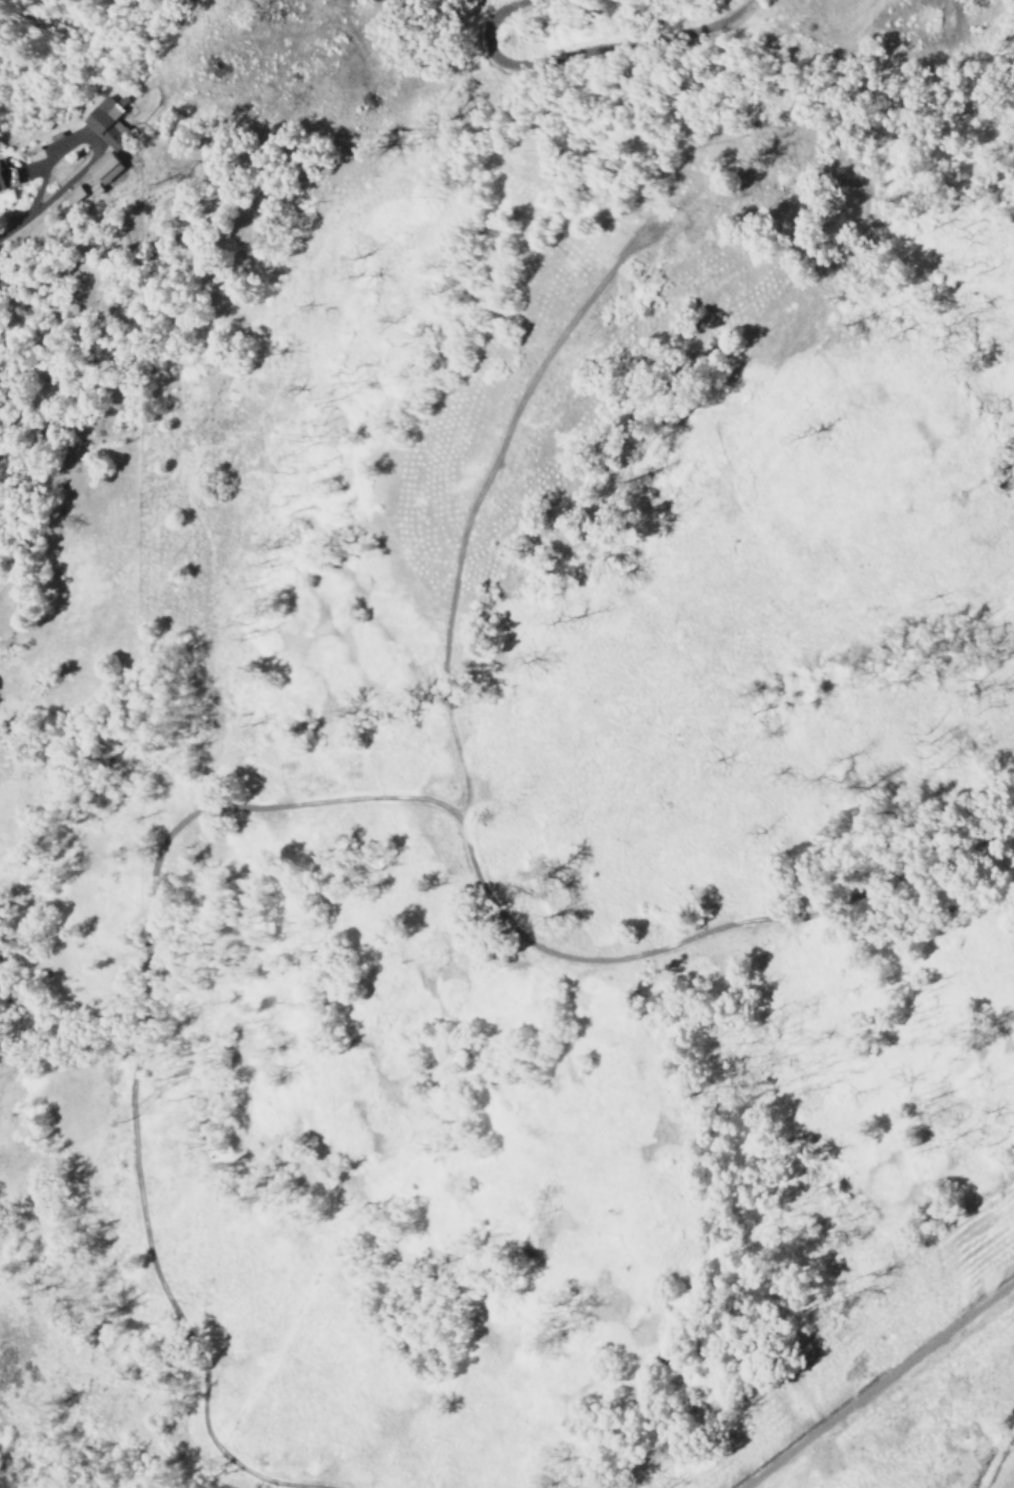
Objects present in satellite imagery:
road: (488, 16)
road: (612, 40)
building: (95, 119)
road: (89, 140)
road: (621, 142)
building: (94, 164)
building: (66, 192)
road: (12, 232)
road: (312, 428)
road: (296, 805)
road: (709, 933)
road: (878, 1385)

